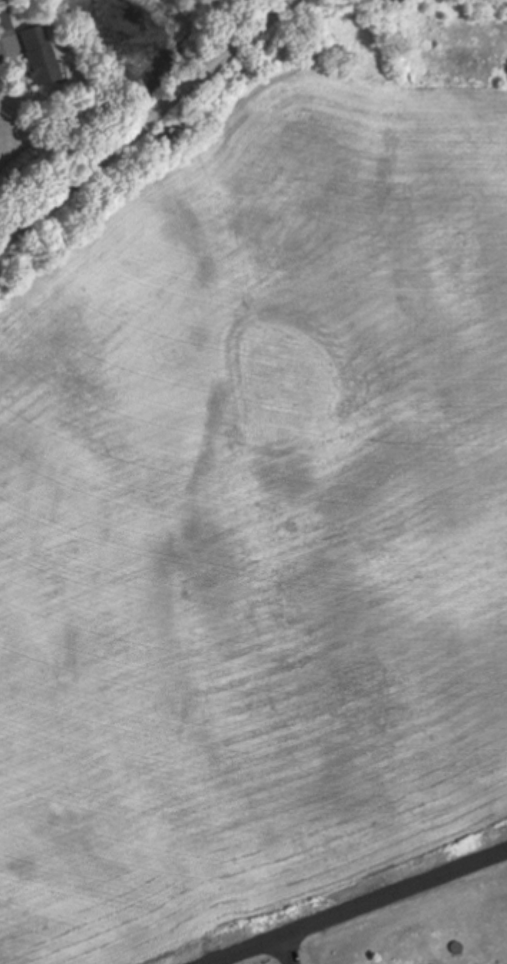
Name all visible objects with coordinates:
building: (36, 58)
road: (146, 123)
crop: (257, 525)
road: (355, 907)
road: (292, 948)

